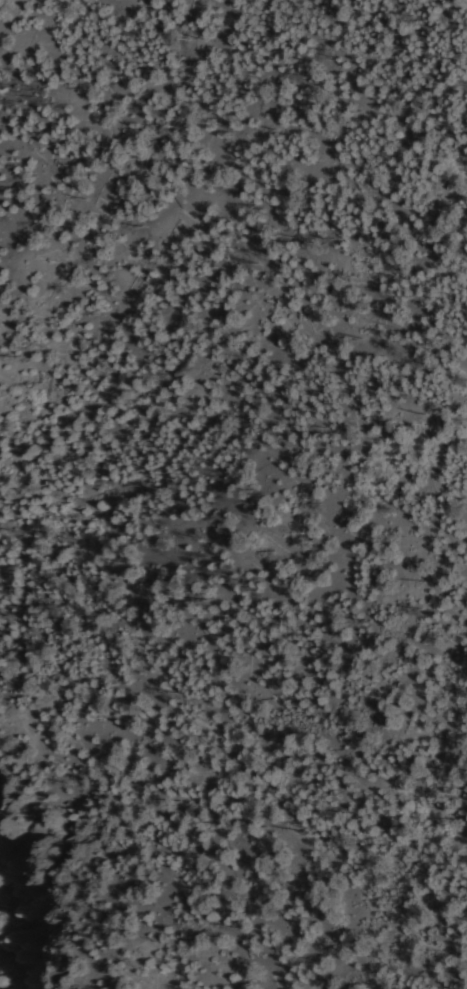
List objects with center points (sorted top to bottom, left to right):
road: (381, 81)
road: (458, 709)
road: (218, 732)

